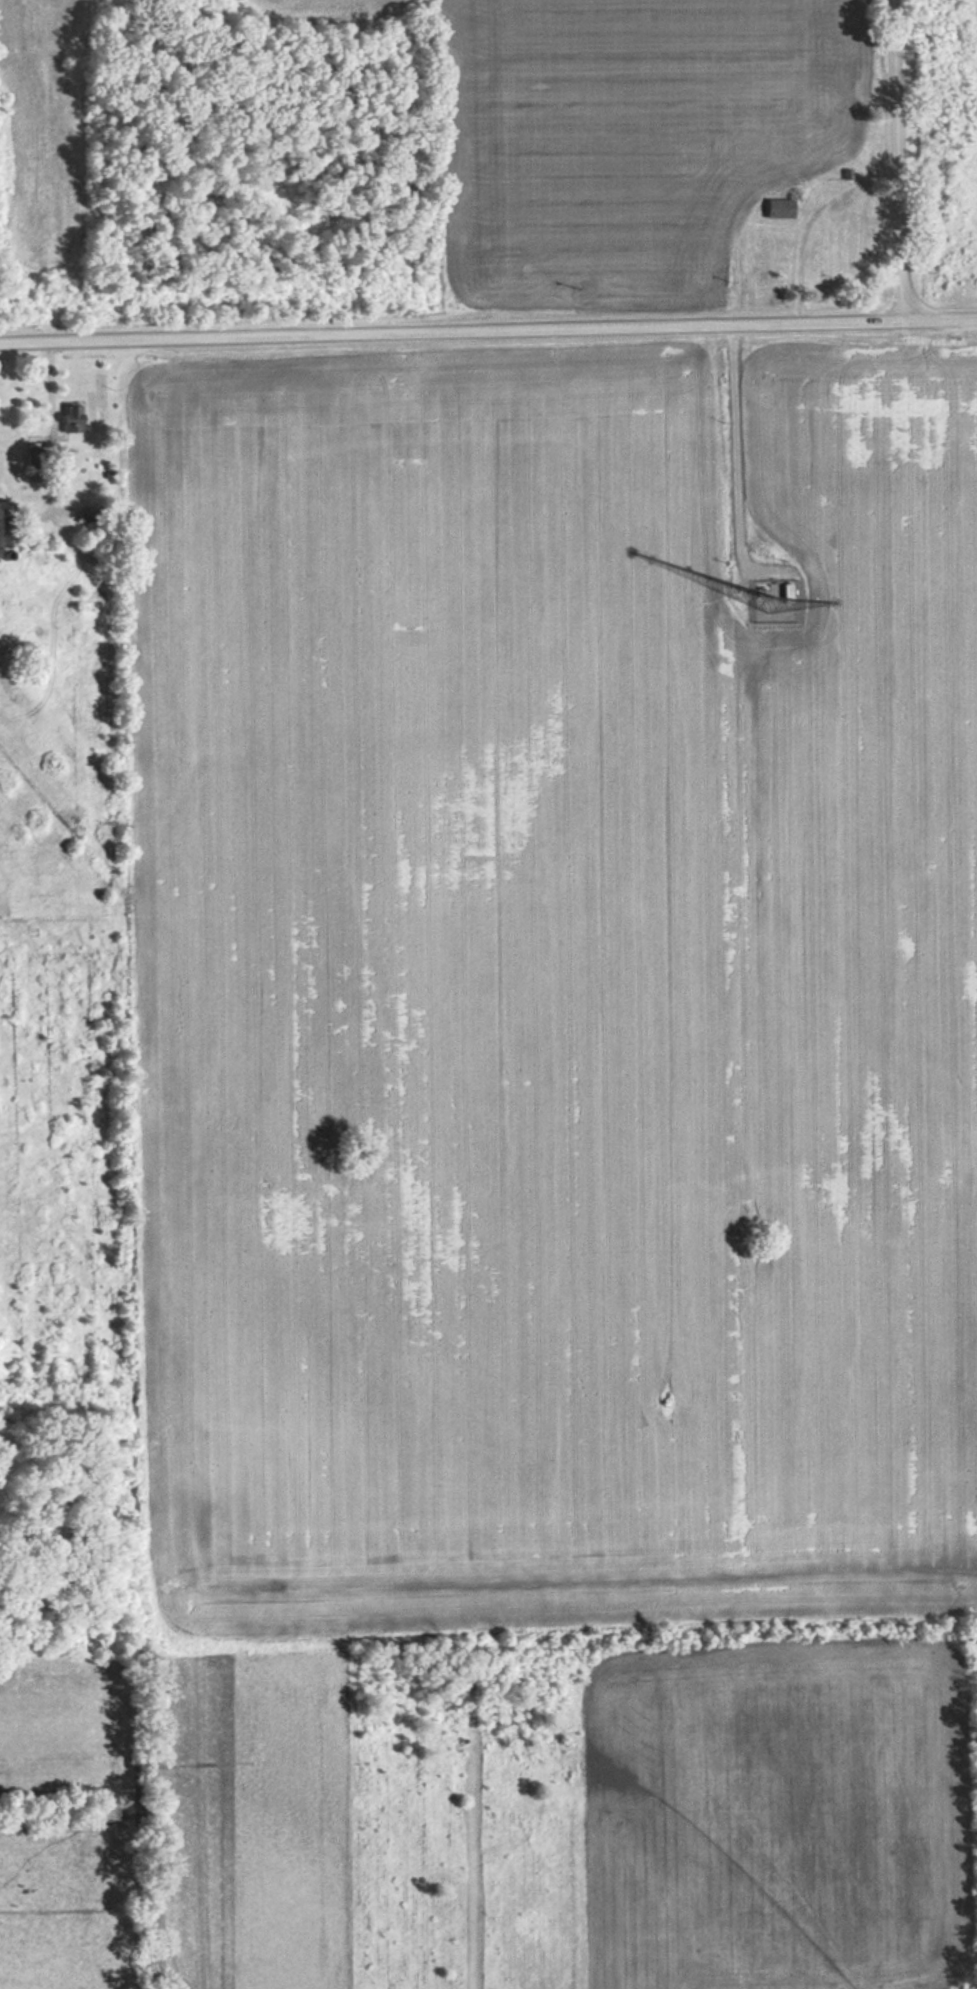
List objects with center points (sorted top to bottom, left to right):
building: (759, 108)
road: (894, 159)
road: (488, 332)
building: (67, 416)
road: (740, 463)
building: (4, 522)

